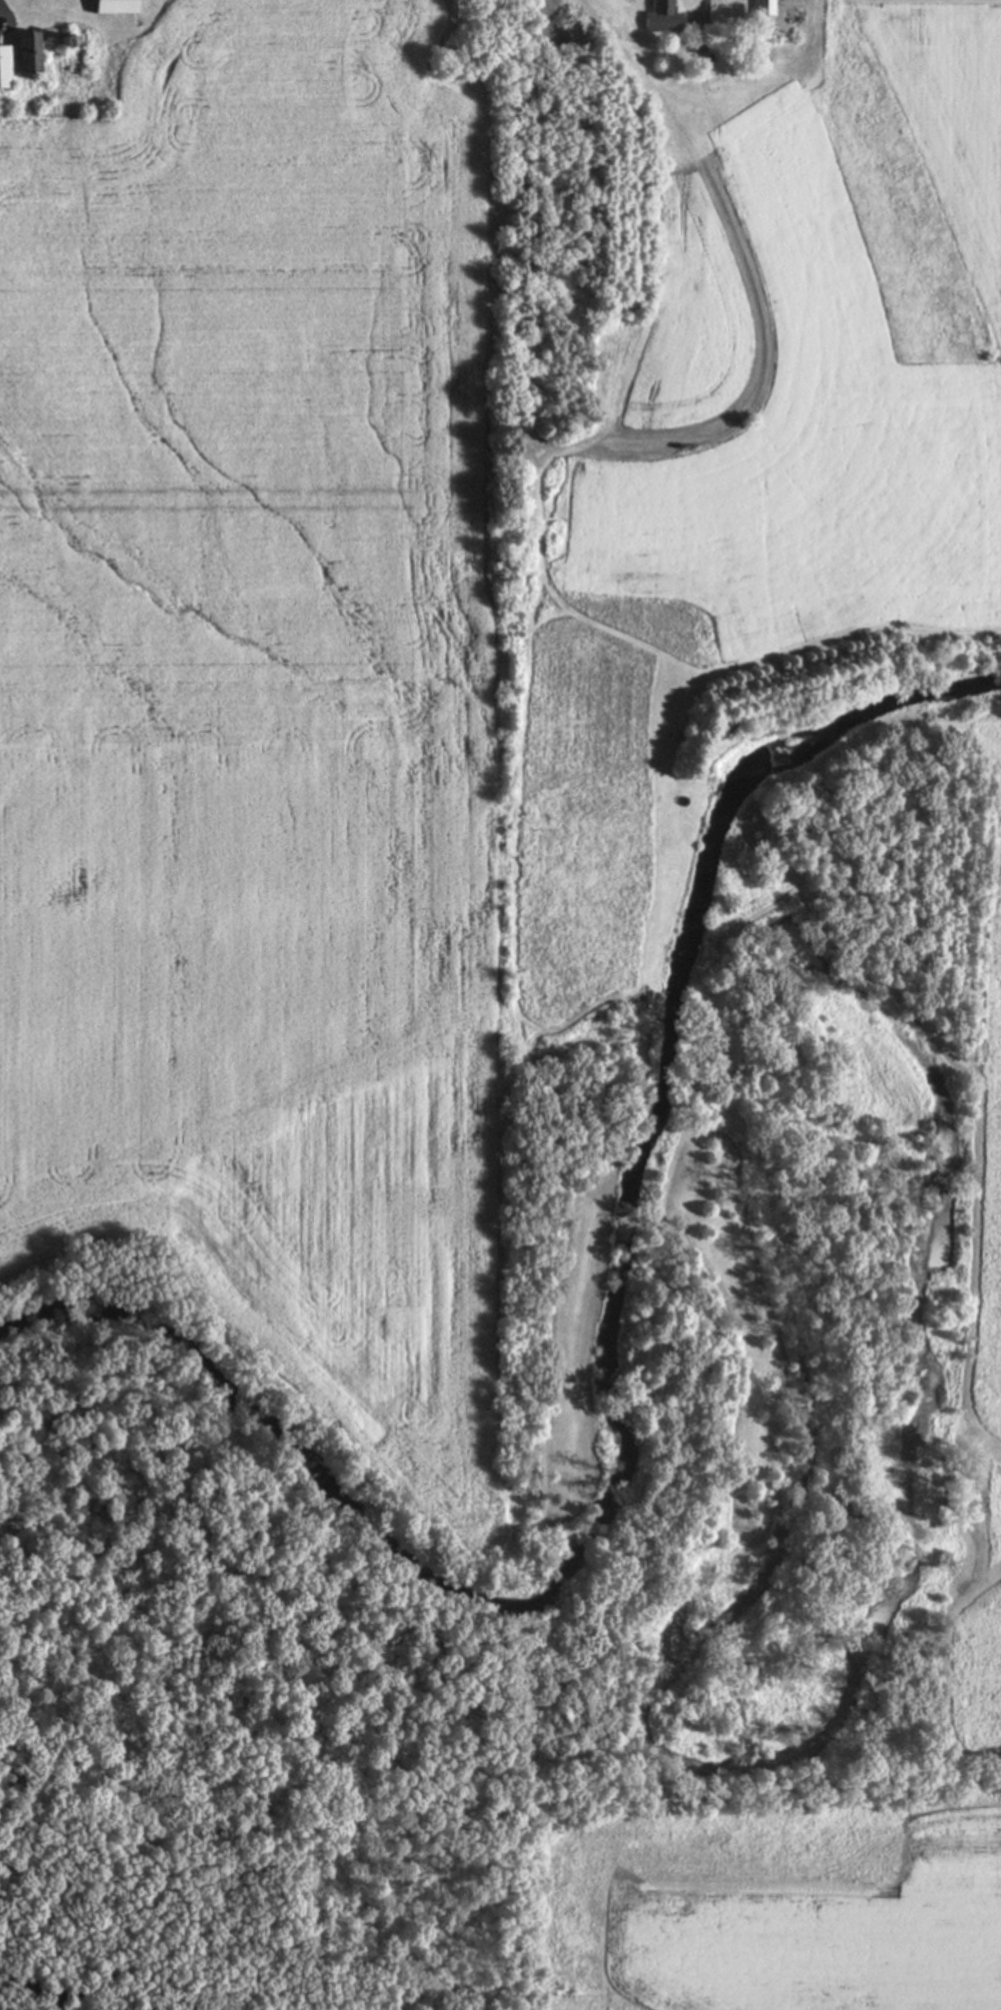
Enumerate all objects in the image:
building: (119, 6)
building: (666, 6)
building: (765, 7)
building: (33, 50)
building: (7, 65)
river: (603, 1378)
river: (40, 1991)

